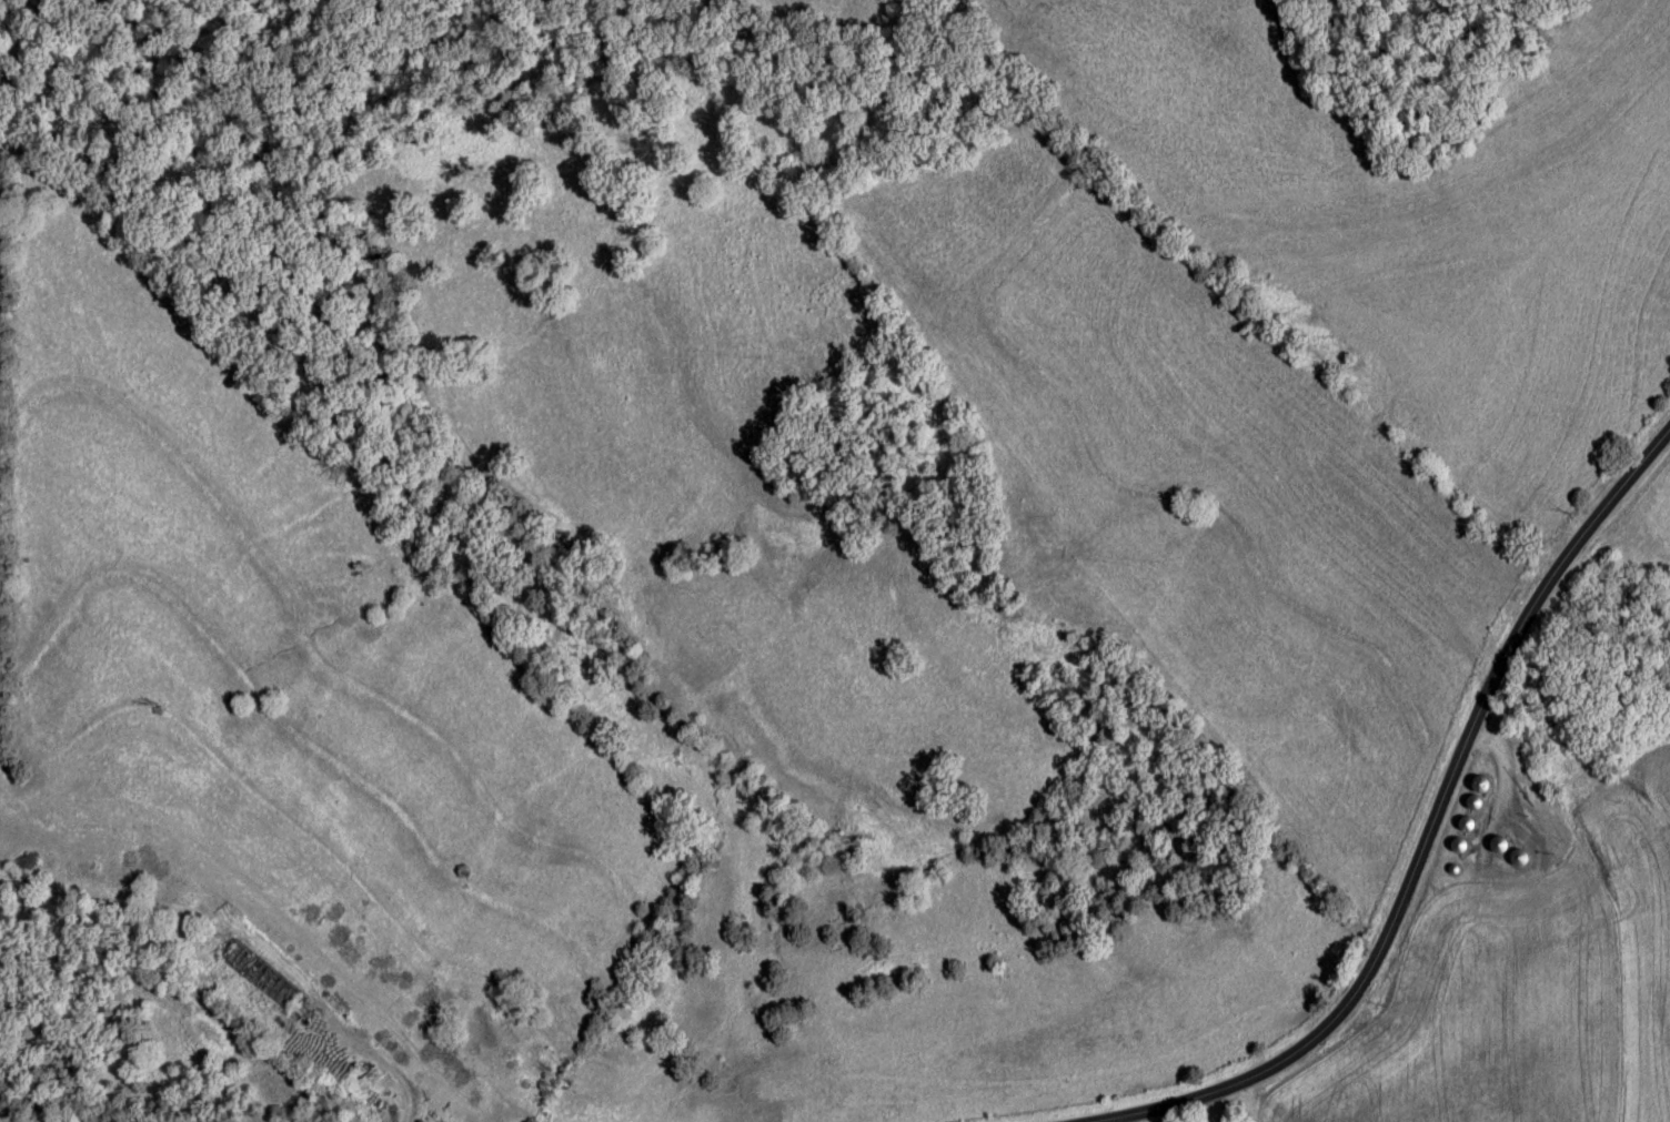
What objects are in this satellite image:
road: (1014, 599)
building: (1478, 797)
building: (1503, 848)
building: (1460, 849)
road: (1436, 862)
building: (261, 976)
building: (423, 1121)

